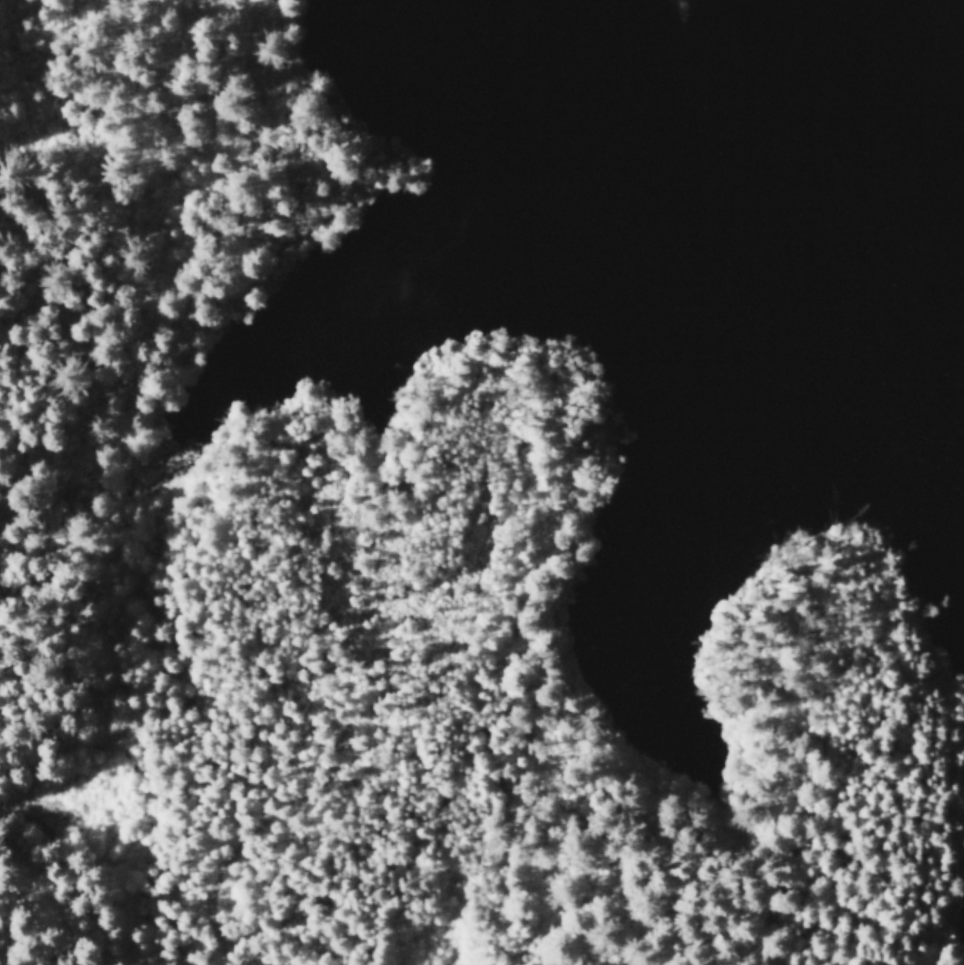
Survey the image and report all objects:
road: (149, 361)
road: (550, 374)

